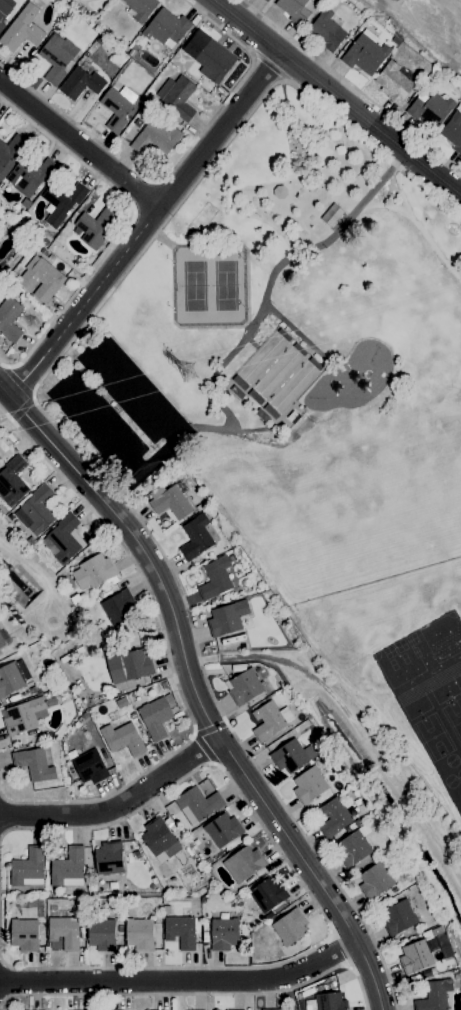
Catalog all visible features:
building: (266, 0)
building: (141, 8)
road: (449, 8)
building: (293, 9)
building: (3, 12)
building: (22, 28)
building: (166, 28)
building: (326, 29)
building: (209, 55)
building: (56, 56)
building: (393, 82)
building: (80, 83)
building: (176, 96)
road: (337, 97)
building: (117, 106)
building: (430, 109)
building: (452, 131)
building: (155, 138)
road: (81, 144)
building: (10, 152)
building: (29, 176)
building: (277, 191)
building: (62, 200)
road: (381, 204)
building: (329, 214)
road: (149, 225)
building: (94, 226)
road: (419, 230)
road: (159, 238)
road: (175, 244)
road: (272, 270)
building: (40, 278)
park: (225, 284)
park: (292, 284)
park: (190, 285)
building: (9, 317)
road: (245, 327)
road: (297, 334)
building: (276, 371)
power tower: (193, 374)
building: (269, 409)
parking lot: (116, 410)
road: (156, 412)
road: (220, 428)
road: (101, 430)
building: (11, 481)
road: (125, 490)
building: (169, 501)
building: (35, 511)
building: (195, 536)
building: (64, 538)
building: (93, 571)
building: (215, 578)
building: (119, 607)
building: (226, 618)
building: (2, 641)
building: (128, 665)
building: (9, 679)
building: (243, 686)
road: (195, 689)
building: (24, 715)
building: (156, 716)
building: (269, 719)
building: (122, 738)
building: (292, 755)
building: (33, 764)
building: (89, 766)
building: (309, 784)
building: (197, 804)
road: (119, 809)
building: (333, 817)
building: (222, 829)
building: (159, 839)
building: (352, 848)
building: (108, 858)
building: (242, 863)
building: (28, 867)
building: (67, 868)
building: (374, 879)
building: (268, 894)
building: (397, 917)
building: (289, 926)
building: (180, 931)
building: (64, 932)
building: (139, 933)
building: (223, 933)
building: (24, 934)
building: (101, 934)
building: (415, 956)
road: (183, 984)
building: (433, 996)
building: (330, 1001)
building: (270, 1009)

